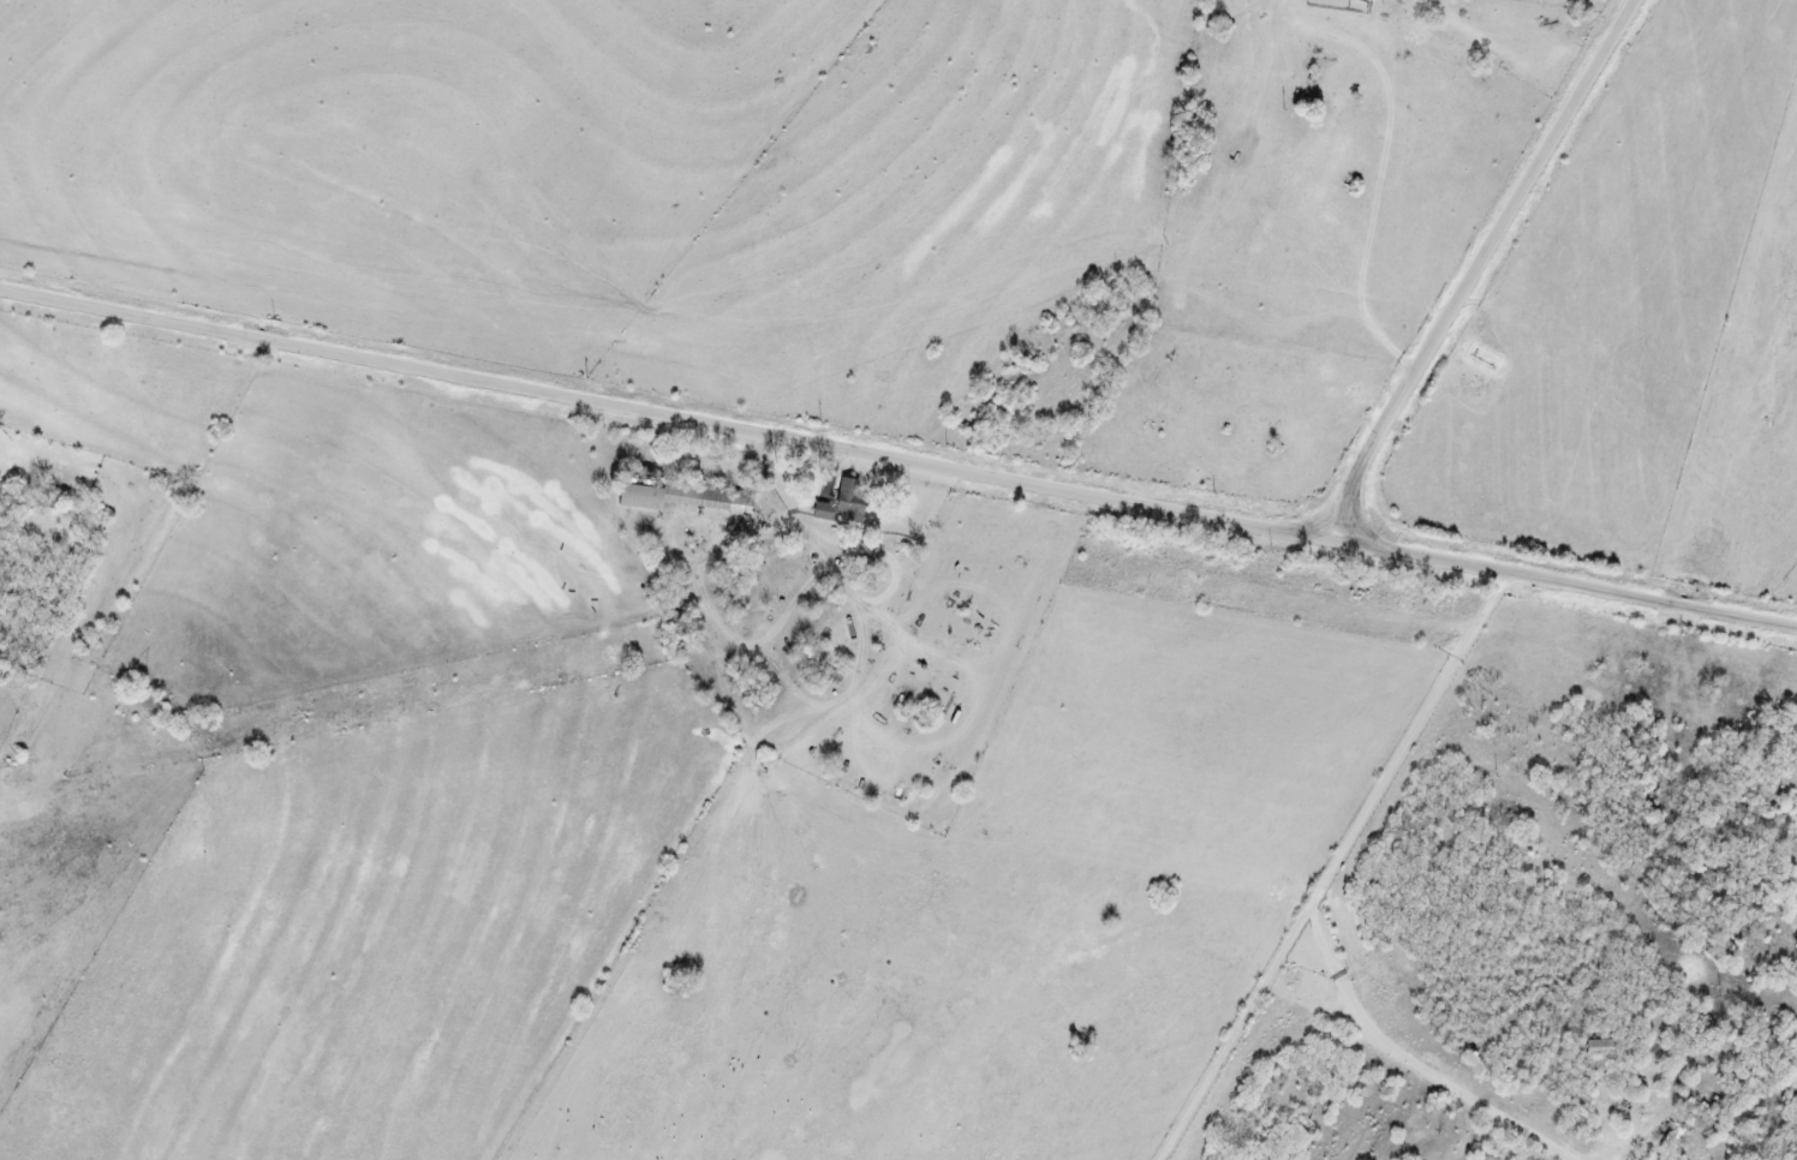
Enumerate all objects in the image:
road: (1479, 267)
road: (898, 455)
building: (688, 497)
building: (843, 504)
road: (1326, 863)
road: (1417, 1062)

